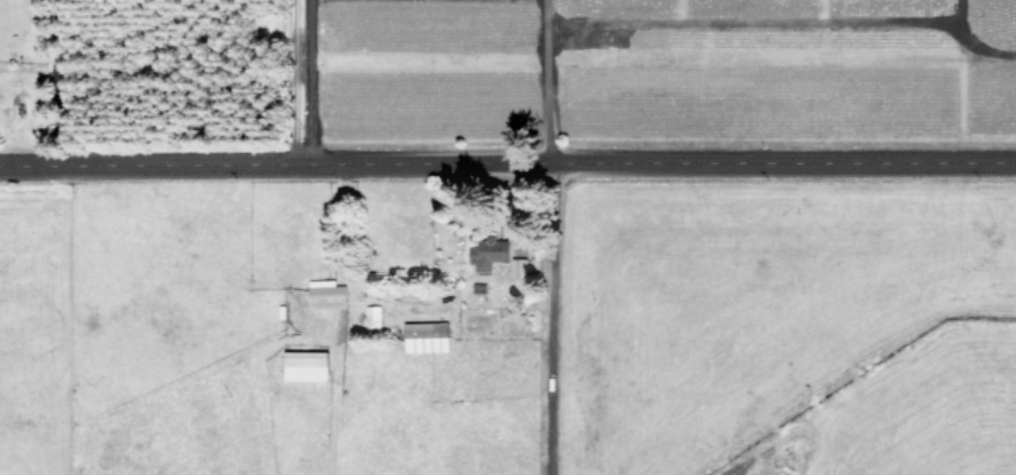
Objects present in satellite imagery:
road: (53, 78)
road: (542, 78)
road: (305, 79)
road: (508, 155)
building: (489, 253)
building: (519, 267)
building: (326, 294)
building: (372, 314)
road: (546, 316)
building: (425, 336)
building: (305, 365)

